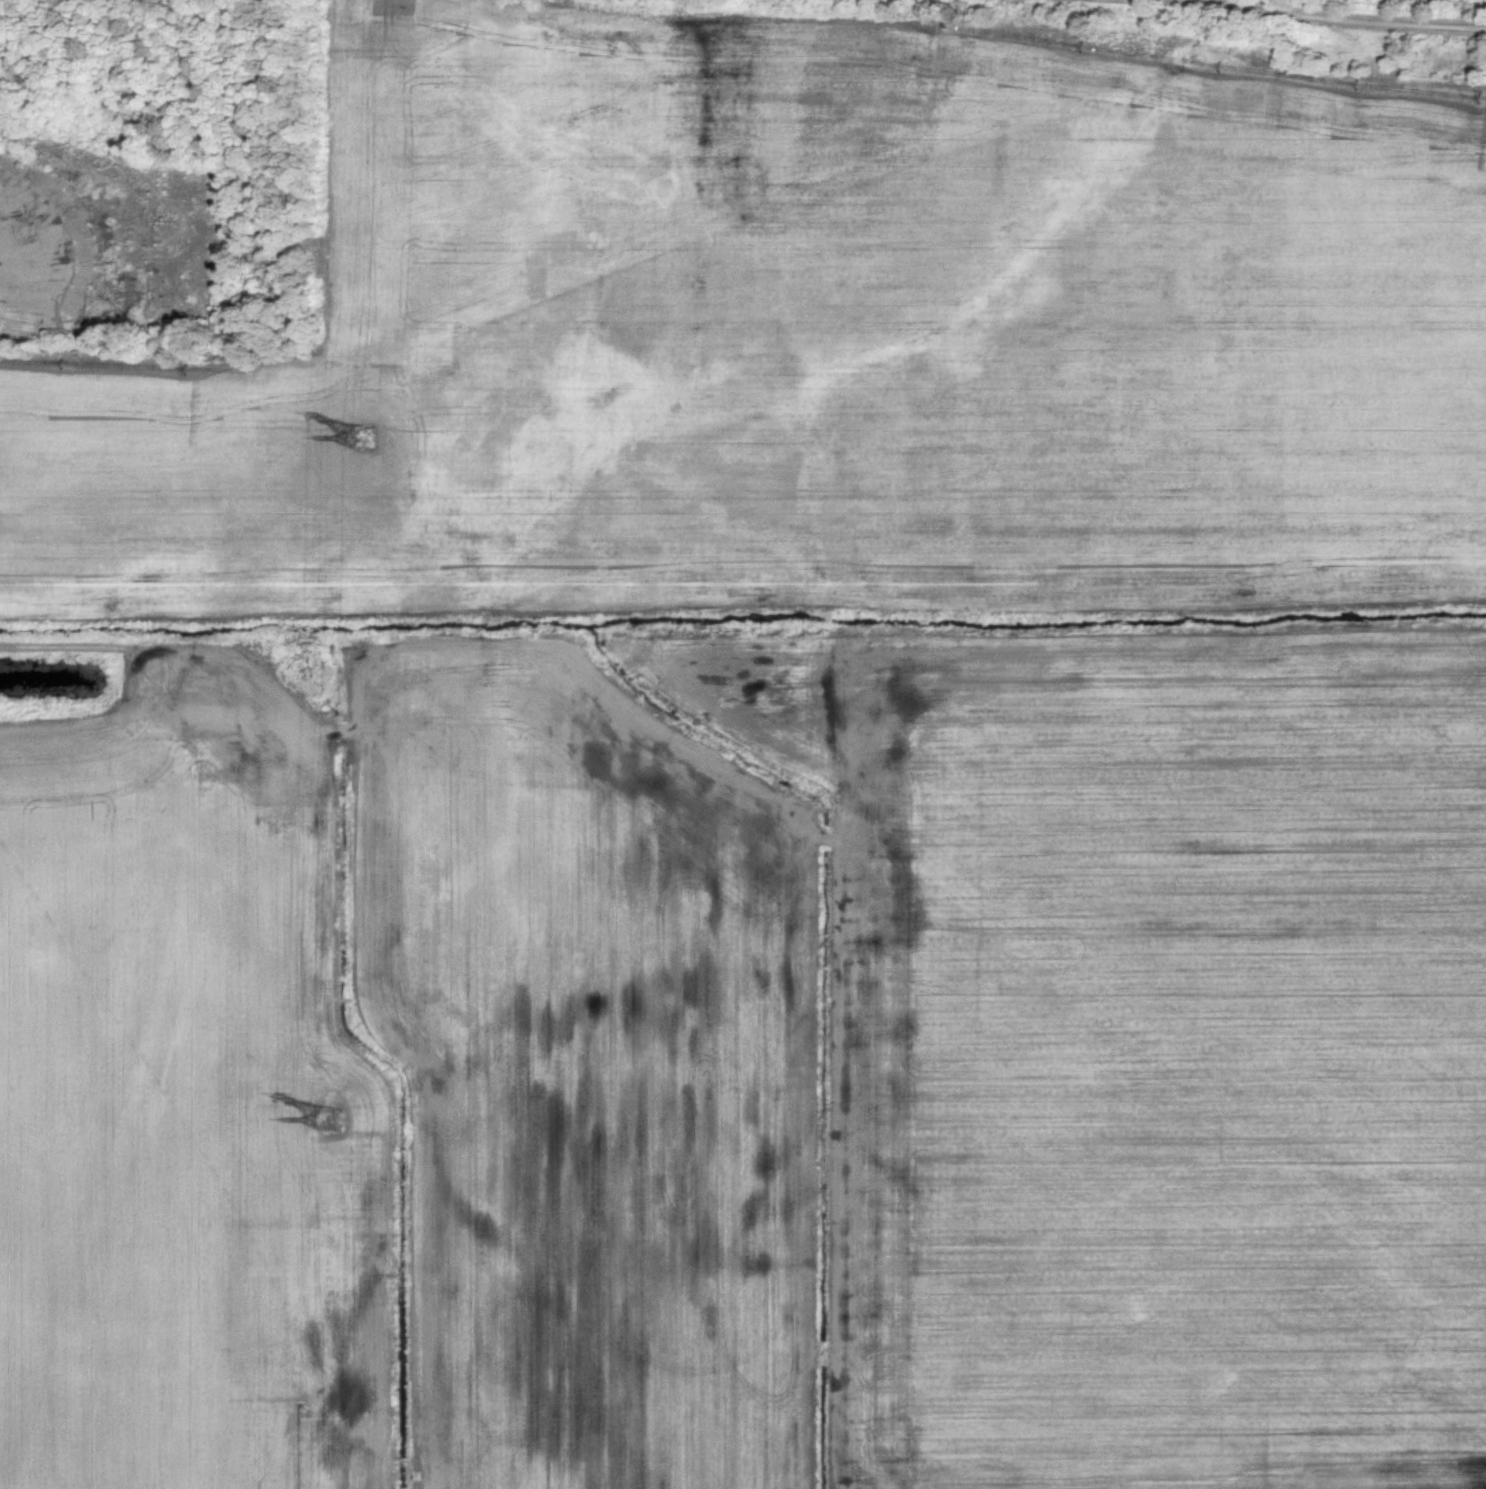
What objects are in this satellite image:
road: (1349, 19)
power tower: (364, 436)
power tower: (334, 1118)

